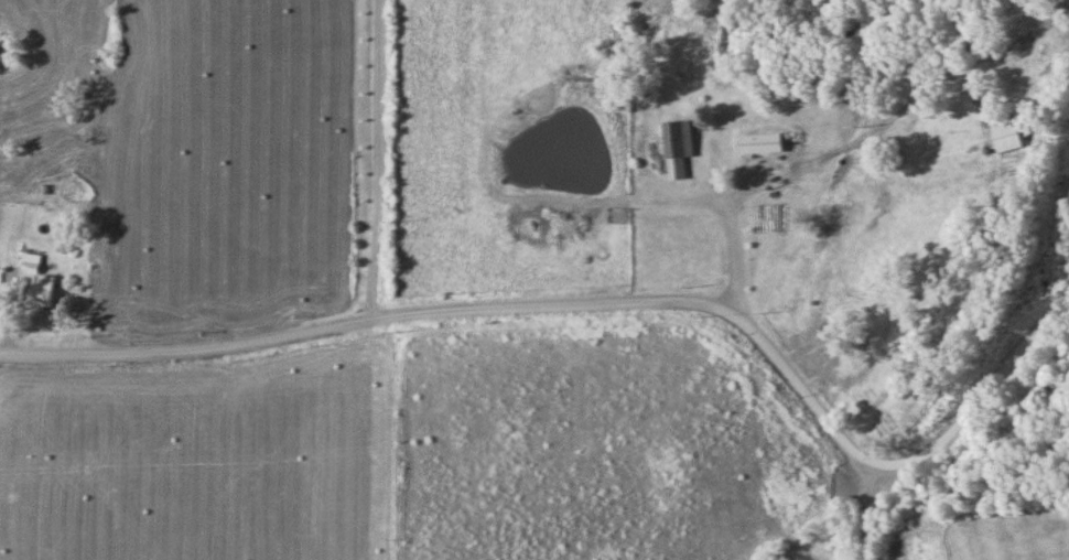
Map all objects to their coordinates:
building: (1004, 137)
building: (677, 142)
building: (759, 144)
road: (381, 161)
park: (1034, 183)
road: (736, 238)
building: (46, 292)
road: (605, 309)
road: (871, 516)

